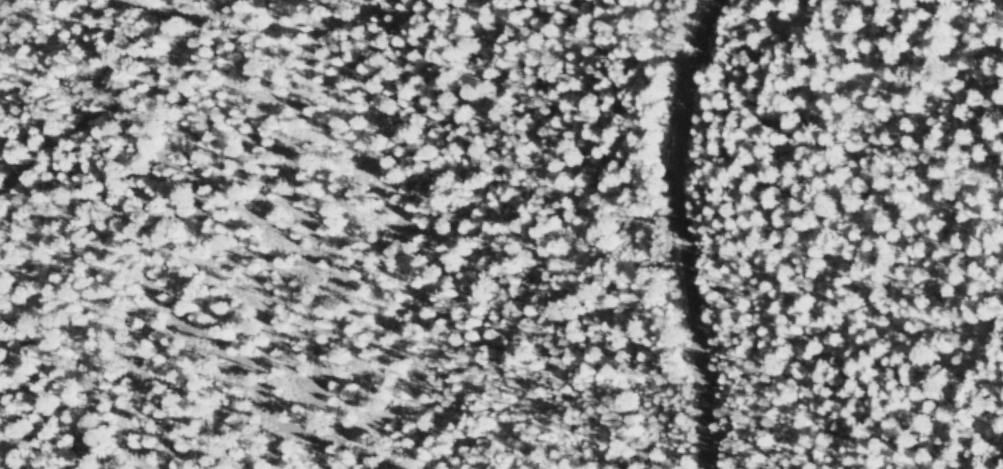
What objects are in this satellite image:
road: (150, 2)
road: (200, 10)
road: (107, 100)
road: (690, 232)

